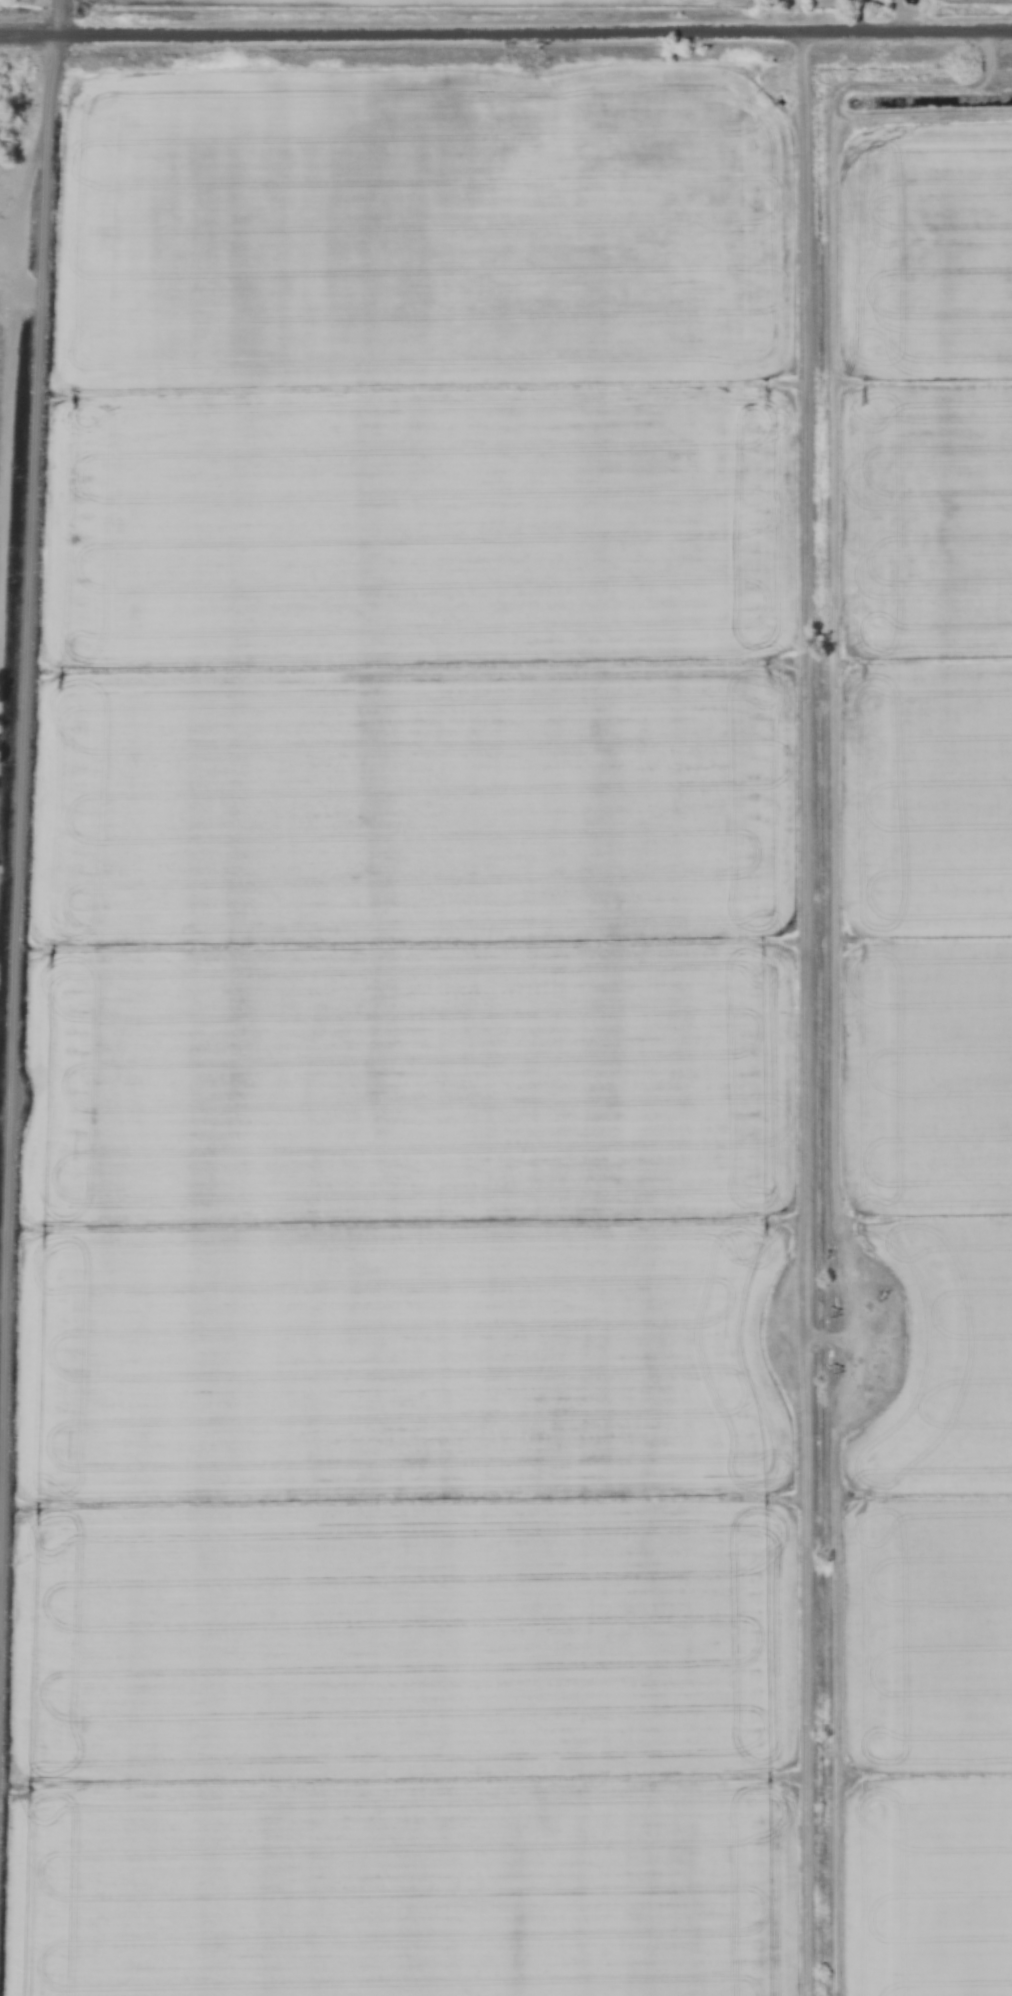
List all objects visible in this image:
road: (506, 42)

